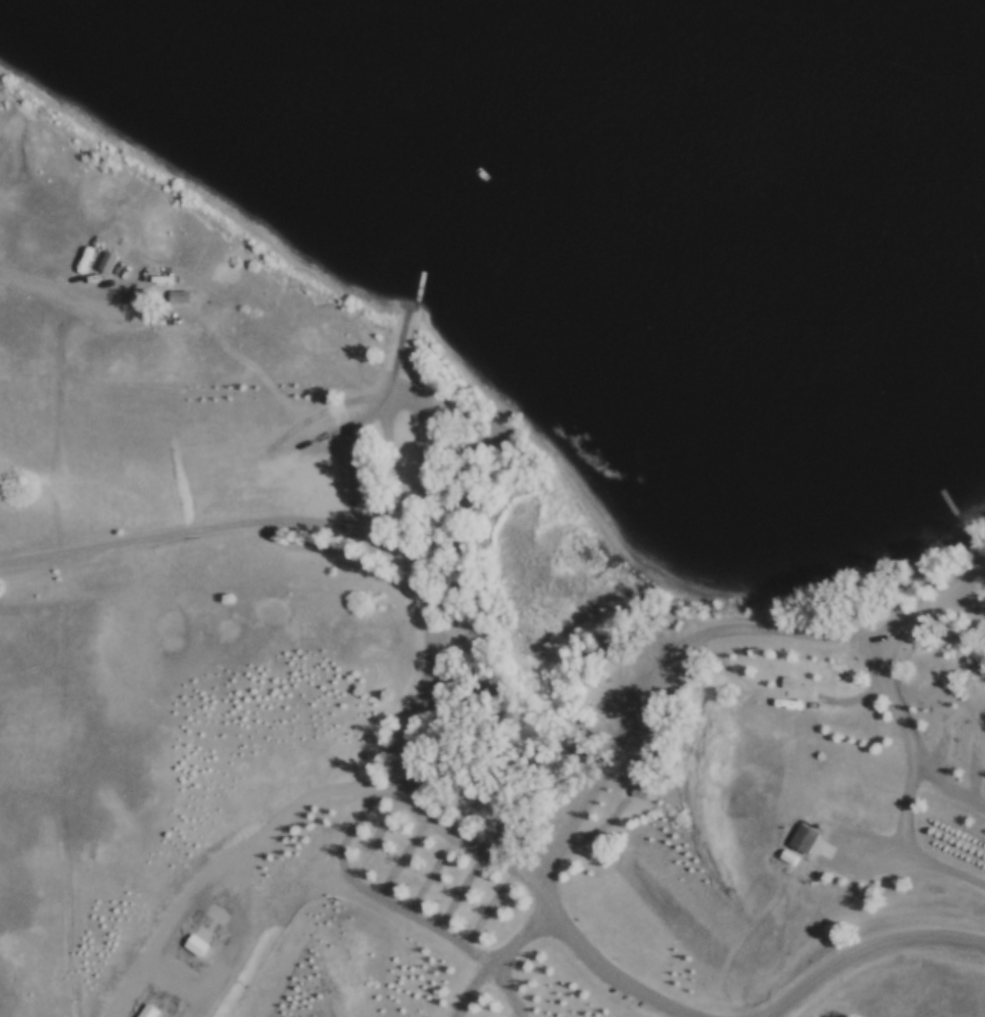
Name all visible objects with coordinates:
road: (212, 525)
road: (971, 607)
road: (701, 636)
building: (796, 686)
building: (640, 792)
building: (472, 801)
road: (868, 948)

